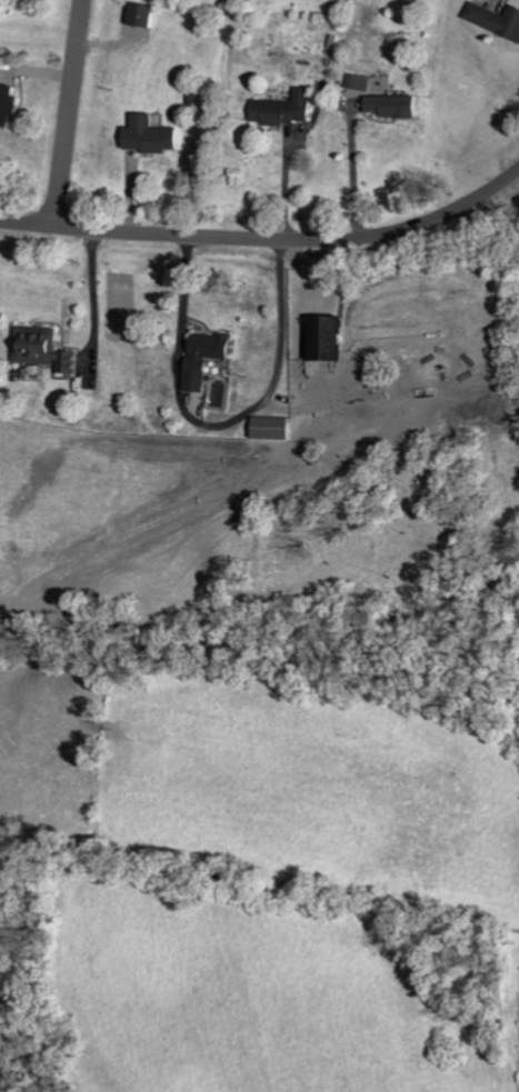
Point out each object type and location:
building: (368, 0)
building: (148, 14)
building: (497, 19)
building: (361, 82)
building: (10, 106)
building: (399, 107)
building: (290, 109)
road: (71, 113)
building: (154, 136)
road: (349, 176)
road: (267, 238)
road: (90, 283)
road: (184, 289)
road: (283, 313)
building: (335, 339)
building: (49, 349)
building: (211, 358)
building: (279, 429)

